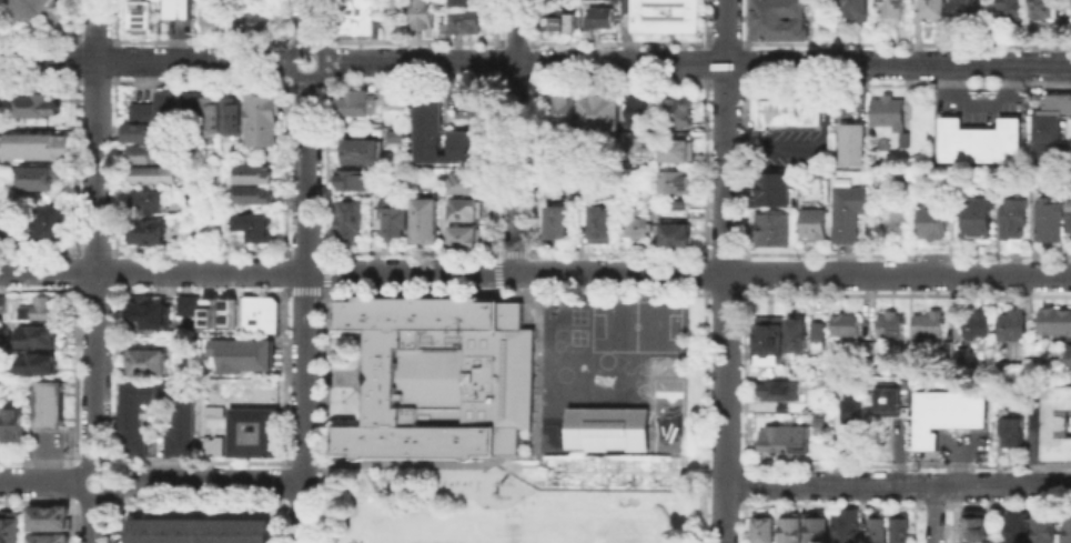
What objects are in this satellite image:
building: (468, 3)
building: (932, 8)
building: (23, 9)
building: (178, 9)
building: (890, 9)
building: (1045, 9)
building: (855, 10)
building: (1011, 10)
building: (966, 11)
building: (138, 16)
building: (212, 16)
building: (426, 16)
building: (597, 16)
building: (663, 16)
building: (361, 19)
building: (779, 19)
building: (252, 20)
road: (307, 22)
building: (557, 22)
building: (469, 23)
road: (144, 61)
road: (697, 61)
road: (323, 64)
road: (471, 79)
building: (396, 97)
building: (361, 102)
building: (38, 104)
building: (686, 105)
building: (155, 107)
building: (196, 107)
building: (887, 111)
building: (214, 113)
building: (566, 113)
building: (787, 113)
building: (605, 117)
building: (233, 118)
building: (644, 120)
building: (265, 122)
building: (1049, 124)
building: (427, 129)
building: (146, 134)
road: (516, 135)
building: (980, 141)
building: (628, 142)
building: (851, 143)
building: (34, 144)
building: (466, 144)
building: (677, 149)
building: (361, 150)
building: (566, 152)
building: (153, 157)
building: (34, 177)
building: (156, 177)
building: (256, 179)
building: (350, 179)
building: (462, 181)
building: (679, 183)
building: (564, 184)
building: (771, 189)
building: (254, 193)
building: (656, 200)
building: (153, 203)
building: (1067, 204)
building: (686, 208)
building: (462, 209)
building: (387, 210)
building: (847, 211)
building: (976, 217)
building: (1011, 217)
building: (348, 218)
building: (424, 219)
building: (930, 219)
building: (50, 220)
building: (1047, 220)
building: (812, 221)
building: (898, 221)
building: (1067, 222)
building: (4, 223)
building: (256, 225)
building: (559, 228)
building: (603, 228)
building: (771, 228)
building: (638, 230)
road: (95, 231)
building: (154, 232)
building: (463, 235)
building: (678, 235)
road: (726, 271)
road: (535, 272)
building: (186, 304)
building: (4, 306)
building: (42, 310)
building: (218, 311)
road: (305, 311)
building: (144, 313)
building: (257, 313)
building: (1057, 323)
building: (932, 325)
building: (981, 325)
building: (1016, 325)
building: (850, 326)
building: (895, 328)
building: (820, 333)
building: (39, 338)
building: (802, 338)
building: (770, 348)
building: (951, 351)
building: (871, 352)
building: (245, 354)
building: (1068, 360)
building: (146, 361)
building: (40, 365)
building: (444, 380)
building: (781, 392)
building: (892, 403)
building: (52, 406)
building: (856, 413)
building: (947, 415)
building: (1055, 424)
building: (16, 426)
building: (606, 429)
building: (179, 430)
building: (254, 432)
building: (1014, 432)
building: (787, 442)
parking lot: (964, 446)
road: (95, 463)
road: (513, 474)
road: (39, 481)
road: (210, 481)
road: (898, 483)
road: (933, 513)
building: (51, 517)
road: (95, 521)
building: (792, 526)
building: (846, 527)
building: (978, 527)
building: (1017, 527)
park: (511, 529)
building: (765, 529)
building: (203, 530)
building: (818, 530)
building: (1045, 530)
building: (12, 531)
building: (879, 531)
building: (899, 531)
building: (1070, 531)
building: (51, 540)

